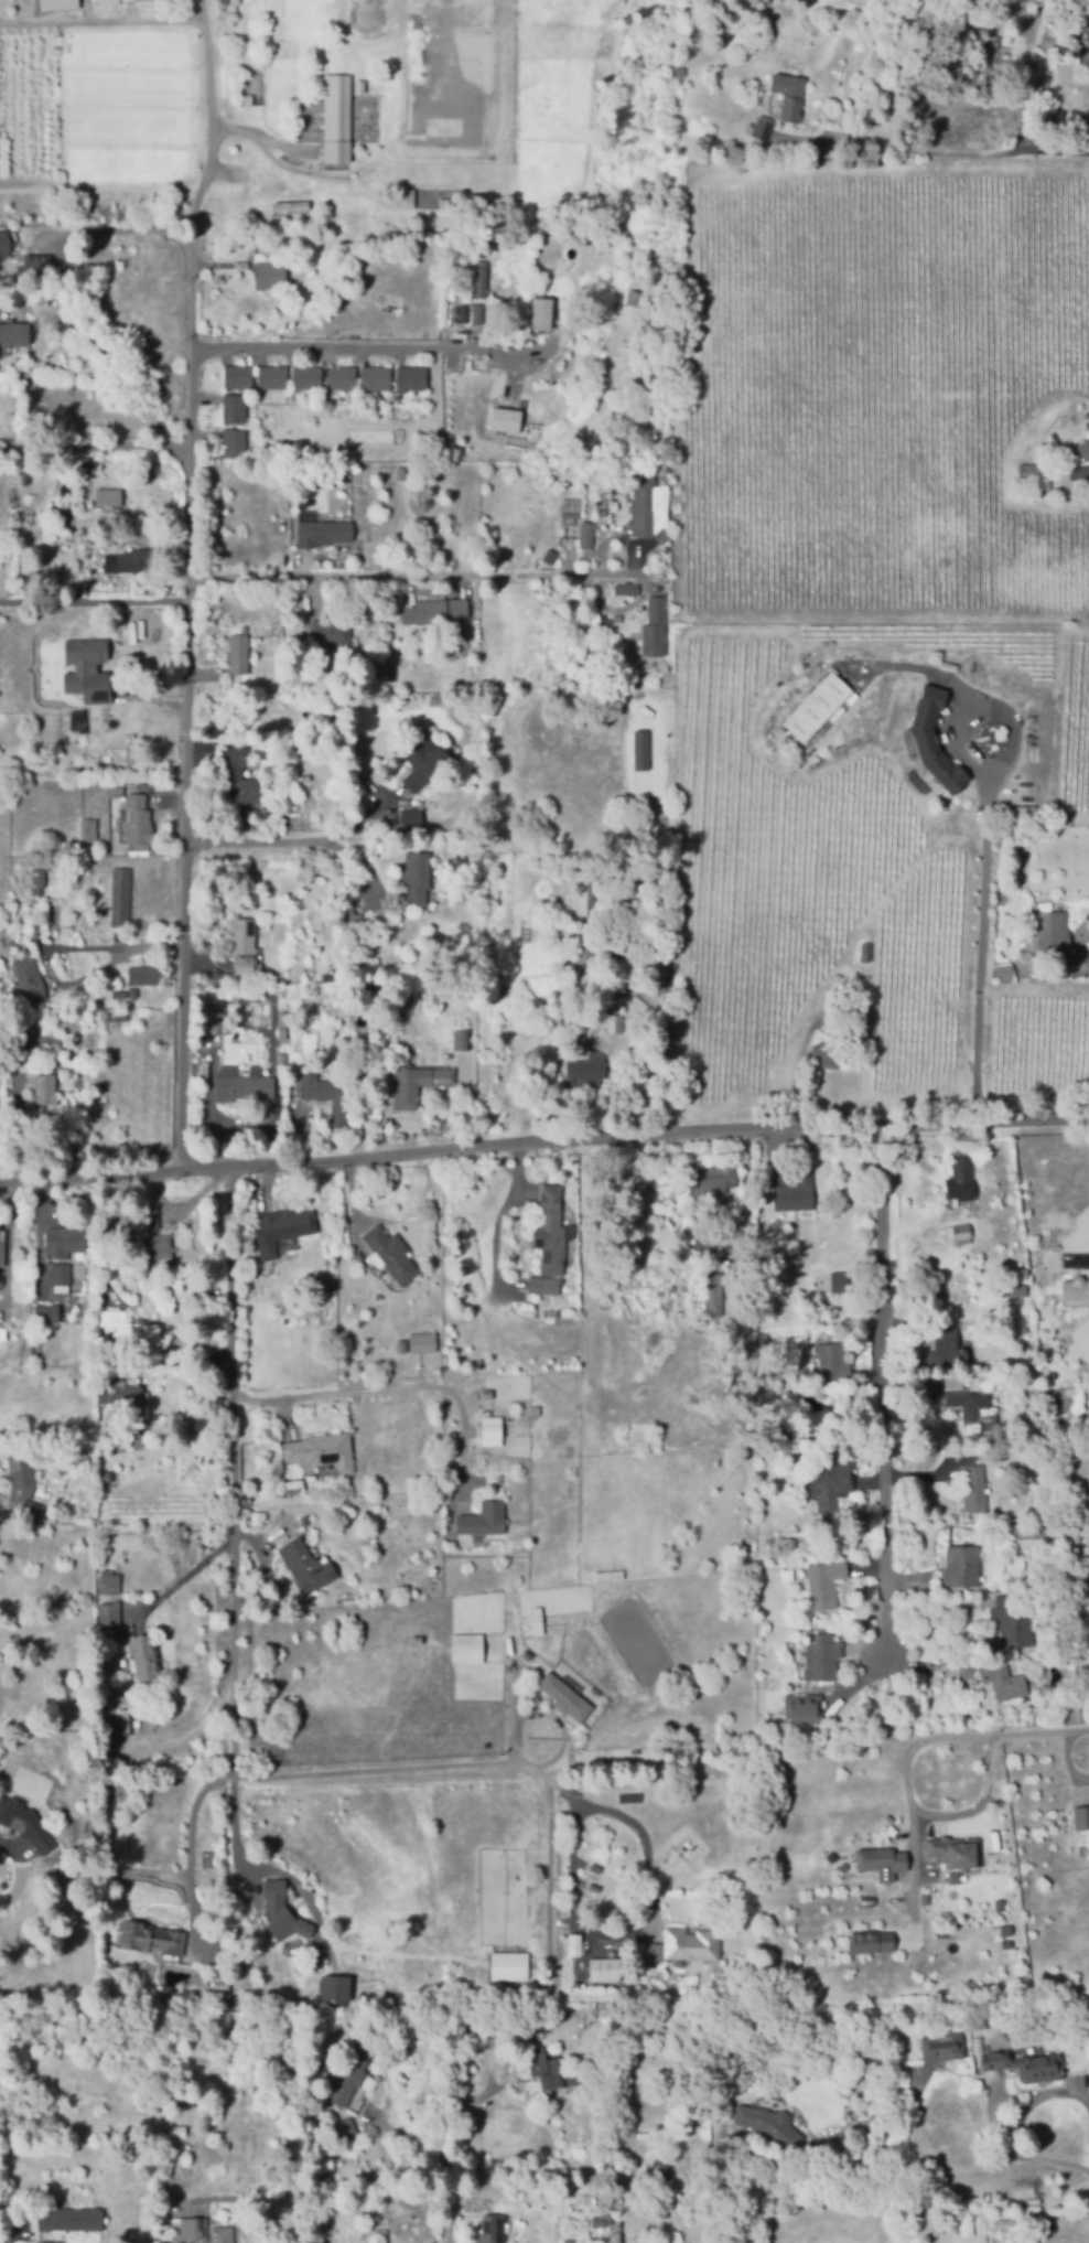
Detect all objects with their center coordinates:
road: (203, 10)
building: (1005, 11)
building: (374, 20)
road: (101, 23)
building: (1052, 34)
building: (1088, 35)
building: (982, 52)
building: (1009, 55)
building: (794, 62)
building: (1087, 62)
building: (679, 71)
road: (1028, 74)
building: (245, 87)
building: (255, 88)
building: (451, 90)
building: (790, 95)
building: (339, 120)
building: (764, 127)
road: (213, 130)
road: (842, 144)
building: (689, 147)
road: (994, 149)
building: (408, 198)
building: (414, 202)
building: (324, 239)
building: (4, 244)
building: (34, 266)
building: (270, 275)
building: (477, 278)
building: (477, 313)
building: (541, 313)
building: (14, 333)
road: (366, 351)
road: (116, 371)
building: (273, 376)
building: (238, 377)
building: (306, 377)
building: (342, 378)
building: (375, 378)
building: (411, 378)
building: (235, 408)
building: (504, 419)
building: (235, 441)
road: (94, 448)
building: (1083, 451)
building: (214, 453)
road: (280, 453)
building: (659, 464)
building: (594, 468)
building: (388, 471)
building: (400, 472)
building: (1039, 476)
building: (108, 496)
building: (650, 507)
building: (601, 512)
building: (63, 519)
building: (321, 530)
building: (586, 534)
building: (129, 561)
road: (419, 571)
building: (626, 589)
building: (262, 595)
building: (399, 597)
road: (98, 607)
building: (436, 611)
building: (617, 619)
building: (655, 627)
building: (332, 632)
building: (556, 648)
building: (238, 654)
building: (85, 670)
building: (390, 675)
road: (193, 701)
building: (817, 707)
building: (326, 715)
building: (75, 721)
building: (110, 727)
building: (214, 732)
building: (934, 741)
building: (424, 761)
building: (239, 777)
building: (115, 791)
building: (138, 818)
building: (411, 823)
building: (89, 830)
road: (296, 843)
building: (417, 877)
building: (75, 878)
building: (39, 881)
building: (585, 892)
building: (121, 897)
building: (354, 925)
building: (808, 931)
building: (1050, 934)
road: (982, 947)
building: (246, 948)
road: (109, 949)
building: (865, 952)
building: (348, 962)
building: (585, 967)
building: (1004, 973)
building: (144, 975)
building: (332, 977)
building: (29, 981)
building: (133, 992)
building: (506, 992)
building: (119, 995)
building: (214, 1020)
building: (115, 1021)
building: (615, 1022)
building: (281, 1026)
building: (536, 1031)
building: (23, 1035)
building: (461, 1040)
building: (281, 1058)
building: (822, 1058)
building: (294, 1065)
building: (585, 1071)
building: (238, 1083)
building: (418, 1083)
building: (43, 1088)
building: (326, 1096)
road: (543, 1142)
building: (962, 1174)
building: (712, 1180)
building: (794, 1191)
road: (500, 1215)
building: (150, 1216)
building: (126, 1222)
building: (282, 1230)
building: (823, 1230)
building: (957, 1232)
building: (704, 1236)
building: (553, 1238)
building: (65, 1242)
building: (815, 1244)
road: (1080, 1247)
building: (2, 1248)
building: (159, 1252)
building: (391, 1255)
building: (358, 1257)
building: (61, 1277)
building: (837, 1281)
building: (550, 1285)
building: (1075, 1287)
building: (715, 1295)
building: (44, 1312)
building: (116, 1331)
building: (4, 1332)
building: (571, 1335)
building: (421, 1342)
building: (401, 1345)
building: (163, 1346)
building: (946, 1348)
building: (835, 1363)
building: (552, 1367)
building: (715, 1376)
road: (885, 1387)
road: (392, 1388)
building: (120, 1398)
building: (1069, 1399)
building: (971, 1405)
building: (1074, 1418)
building: (488, 1439)
building: (137, 1440)
building: (322, 1450)
building: (22, 1484)
building: (832, 1484)
building: (974, 1488)
building: (298, 1489)
building: (485, 1517)
building: (256, 1518)
building: (1021, 1532)
building: (308, 1566)
building: (962, 1568)
building: (611, 1579)
building: (824, 1579)
building: (107, 1582)
building: (107, 1613)
building: (538, 1620)
building: (1012, 1622)
building: (108, 1628)
building: (309, 1645)
building: (465, 1649)
building: (144, 1656)
building: (822, 1656)
building: (966, 1671)
building: (1004, 1681)
road: (237, 1684)
building: (564, 1696)
building: (805, 1706)
building: (120, 1723)
building: (114, 1727)
road: (914, 1754)
road: (237, 1778)
road: (974, 1805)
building: (1082, 1816)
building: (25, 1822)
building: (955, 1852)
building: (882, 1858)
road: (550, 1881)
building: (927, 1898)
building: (281, 1911)
building: (151, 1936)
building: (375, 1938)
road: (595, 1938)
building: (572, 1942)
building: (691, 1944)
building: (867, 1944)
building: (376, 1953)
building: (306, 1964)
building: (603, 1968)
building: (302, 1987)
building: (219, 1988)
building: (376, 1988)
building: (334, 1989)
building: (228, 1997)
building: (0, 1999)
building: (944, 2046)
building: (1025, 2064)
building: (553, 2070)
building: (322, 2071)
building: (347, 2074)
road: (1088, 2090)
building: (770, 2126)
building: (343, 2128)
building: (644, 2137)
building: (173, 2158)
building: (661, 2167)
road: (959, 2168)
road: (257, 2207)
building: (71, 2219)
building: (567, 2222)
building: (590, 2222)
building: (964, 2228)
building: (204, 2231)
road: (13, 2232)
building: (375, 2237)
building: (482, 2239)
building: (568, 2240)

